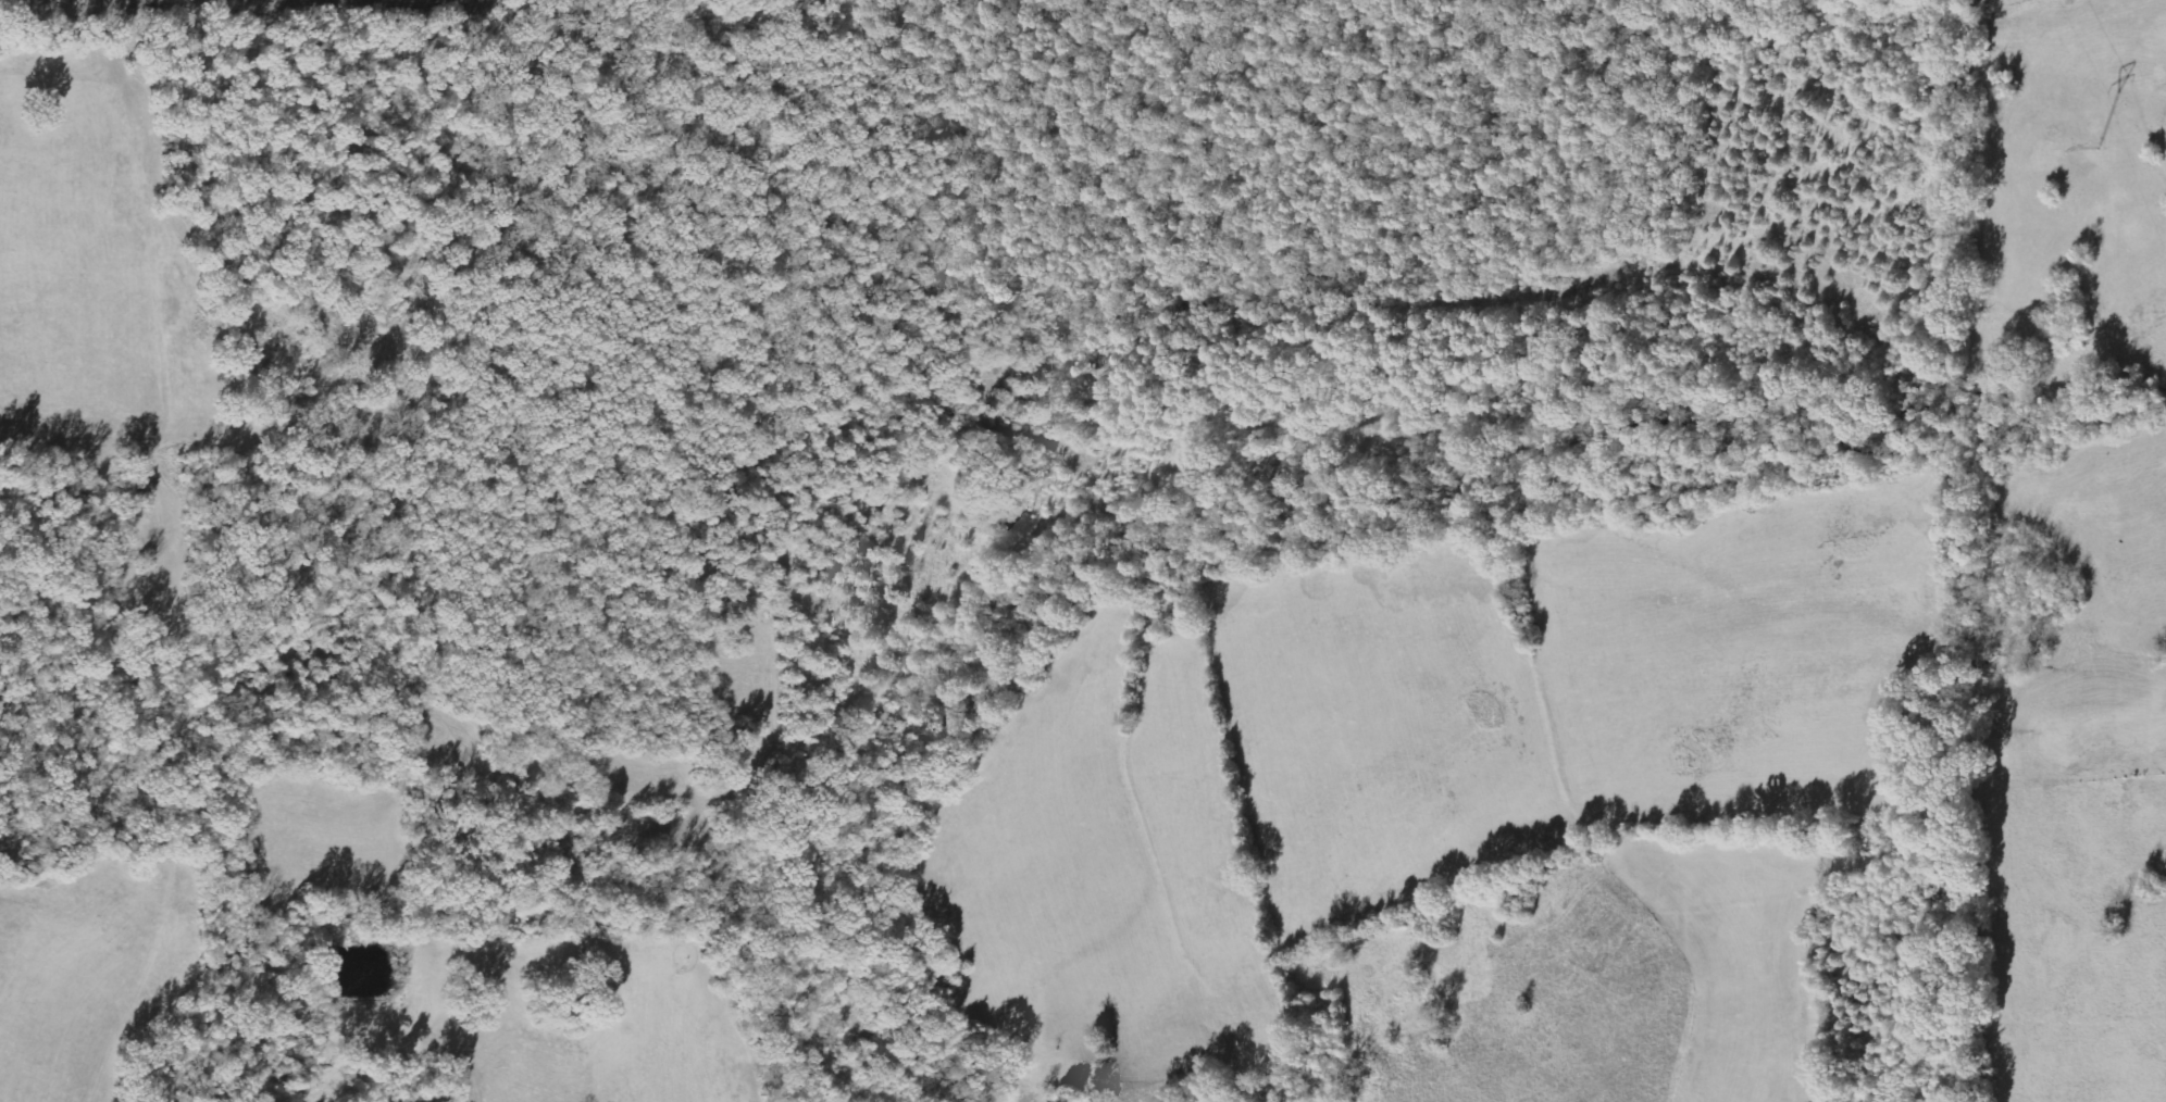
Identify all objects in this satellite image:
power tower: (2095, 149)

